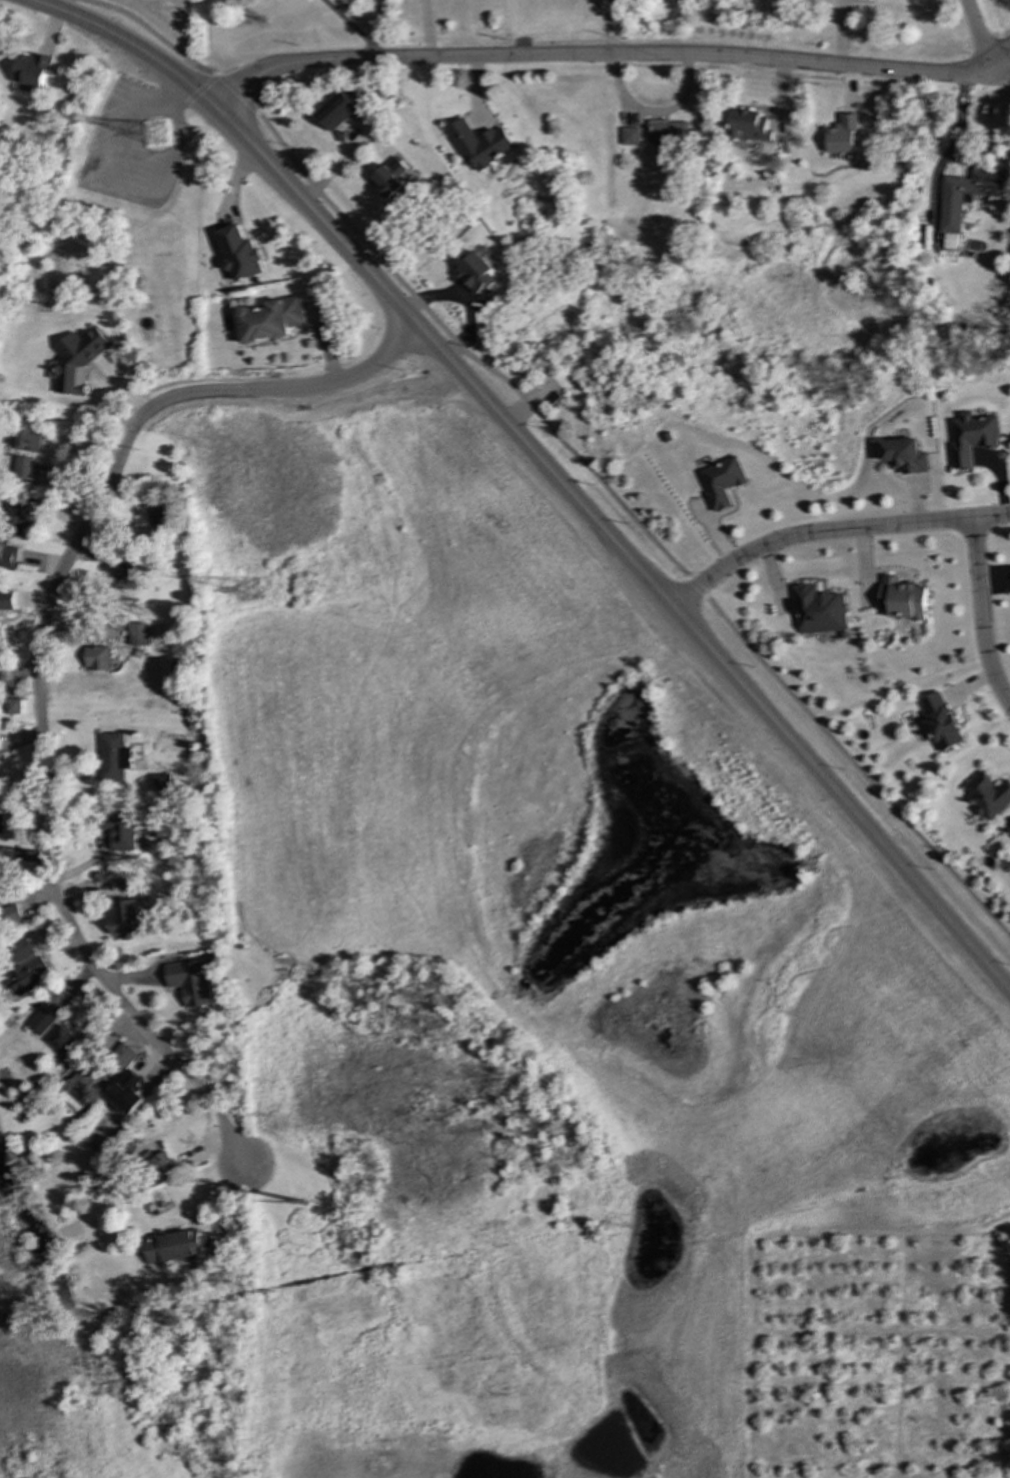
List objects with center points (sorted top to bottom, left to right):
crop: (166, 7)
road: (349, 27)
road: (426, 29)
road: (978, 39)
road: (596, 55)
road: (997, 60)
building: (32, 71)
road: (1001, 79)
building: (337, 111)
building: (749, 126)
building: (669, 132)
building: (843, 134)
power tower: (156, 135)
building: (631, 136)
building: (481, 144)
road: (953, 145)
building: (390, 178)
building: (965, 200)
building: (242, 254)
building: (474, 272)
building: (270, 320)
building: (76, 360)
building: (973, 437)
building: (24, 441)
road: (564, 445)
building: (905, 456)
road: (539, 461)
building: (23, 468)
building: (722, 482)
building: (14, 515)
building: (158, 516)
road: (828, 528)
building: (9, 555)
building: (126, 574)
power tower: (248, 590)
building: (903, 599)
building: (7, 601)
building: (820, 610)
road: (982, 616)
building: (138, 635)
building: (0, 636)
building: (97, 658)
road: (36, 665)
building: (12, 707)
building: (941, 722)
building: (113, 758)
building: (160, 783)
building: (988, 796)
building: (2, 824)
building: (122, 831)
building: (0, 893)
building: (13, 914)
building: (125, 919)
building: (21, 950)
building: (28, 977)
building: (191, 982)
building: (41, 1021)
building: (62, 1039)
building: (122, 1057)
building: (159, 1164)
power tower: (304, 1221)
building: (173, 1247)

